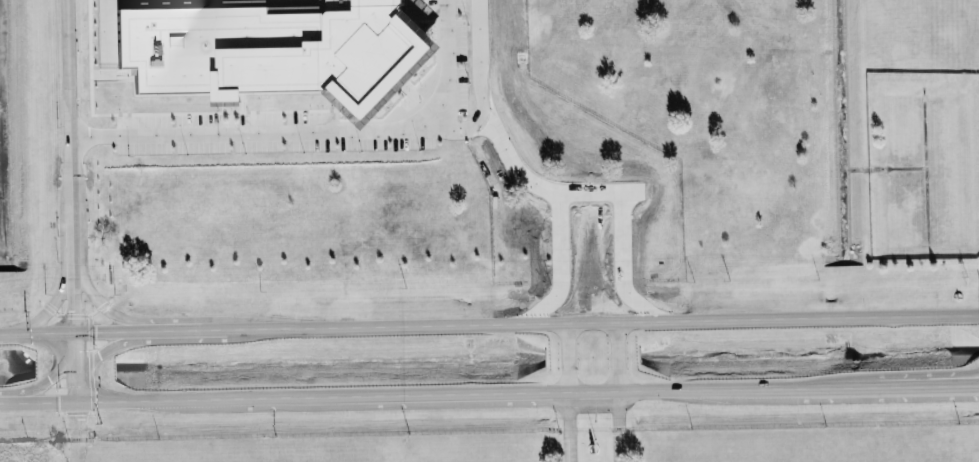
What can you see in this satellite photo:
building: (273, 49)
parking lot: (451, 53)
road: (445, 64)
road: (336, 131)
parking lot: (262, 134)
road: (512, 163)
road: (594, 196)
road: (73, 199)
road: (101, 303)
road: (50, 307)
road: (601, 320)
road: (214, 328)
road: (174, 330)
road: (110, 331)
road: (37, 332)
traffic signals: (76, 332)
road: (107, 348)
road: (565, 355)
road: (927, 377)
road: (44, 383)
road: (938, 385)
road: (886, 386)
road: (806, 387)
road: (651, 388)
road: (618, 390)
road: (374, 394)
road: (129, 399)
road: (38, 400)
traffic signals: (77, 400)
road: (77, 420)
road: (567, 426)
road: (77, 451)

